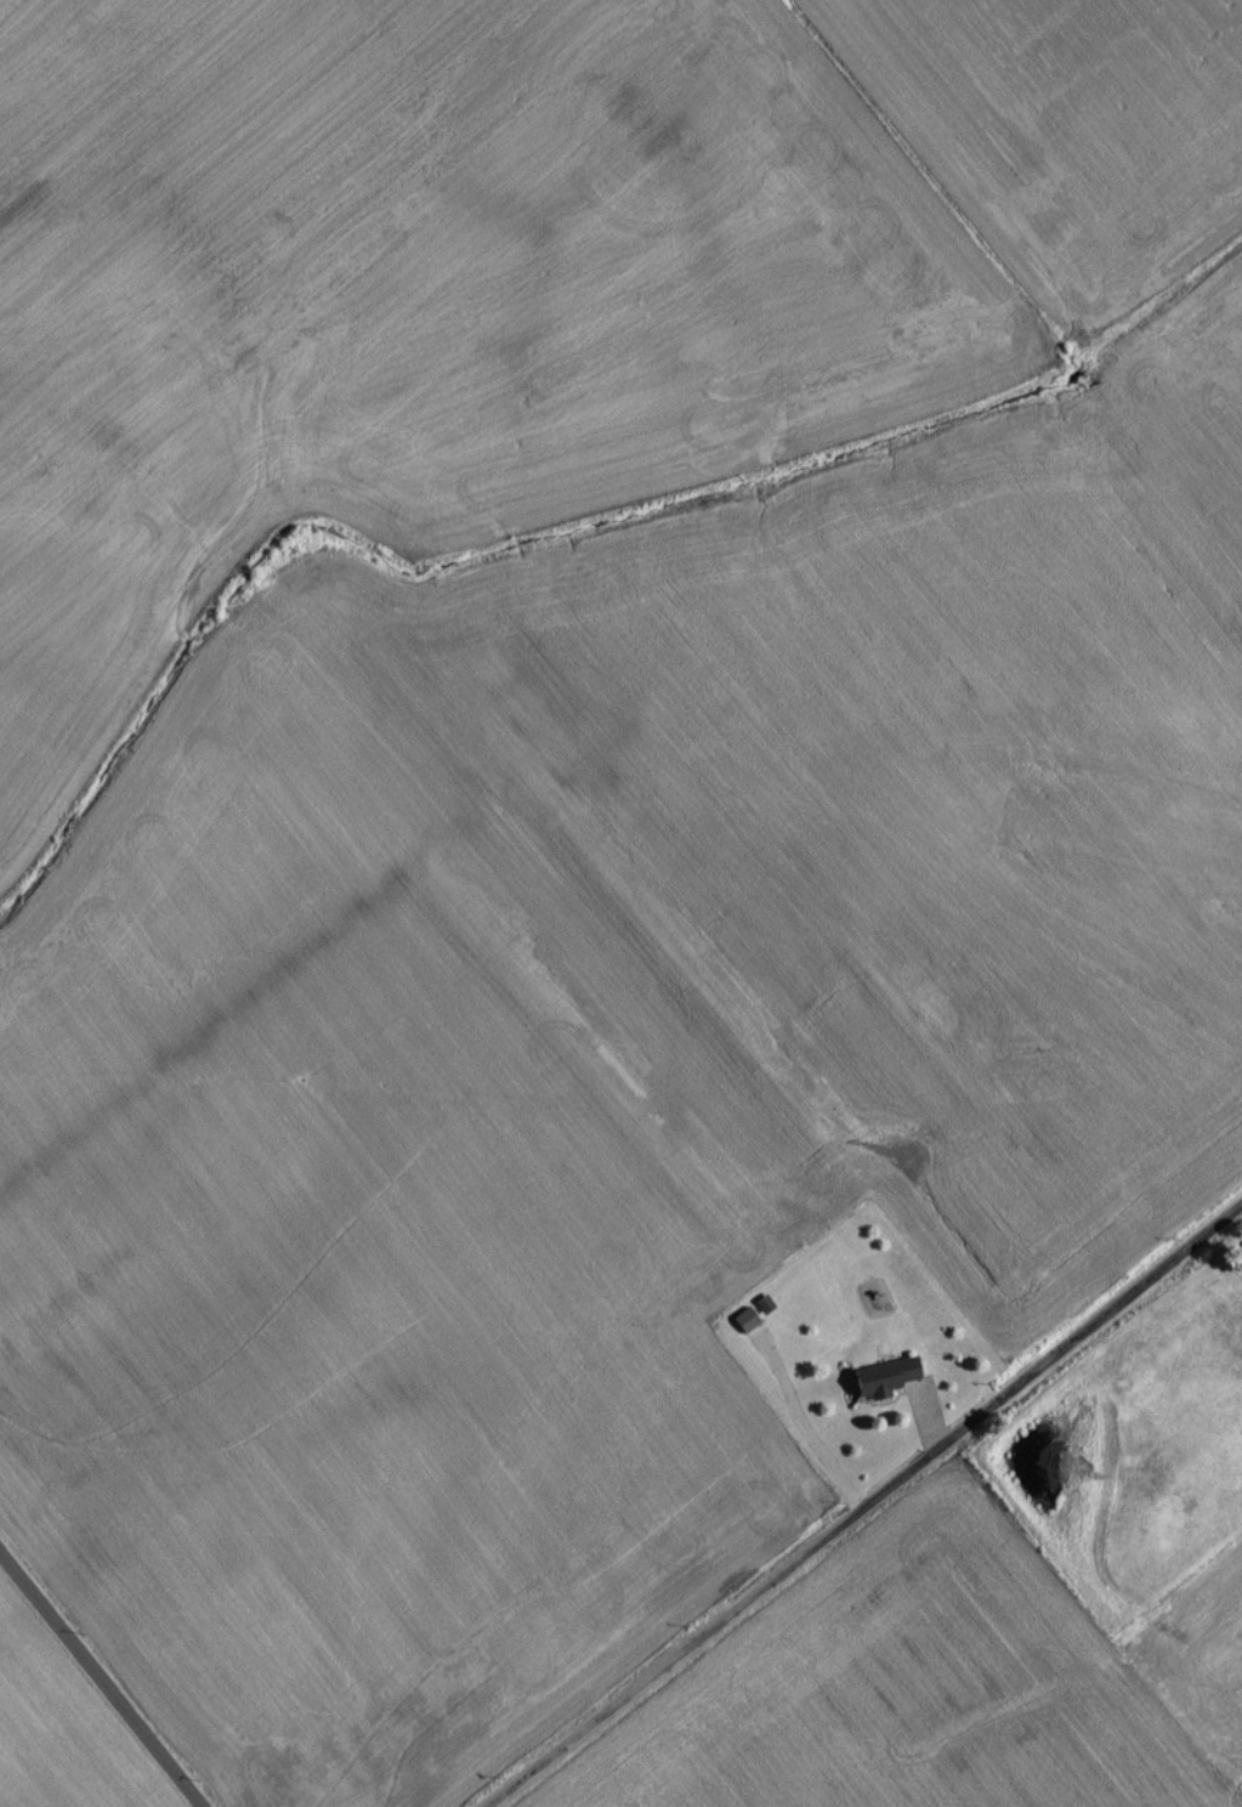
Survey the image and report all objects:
building: (743, 1326)
building: (879, 1383)
road: (870, 1509)
road: (93, 1687)

